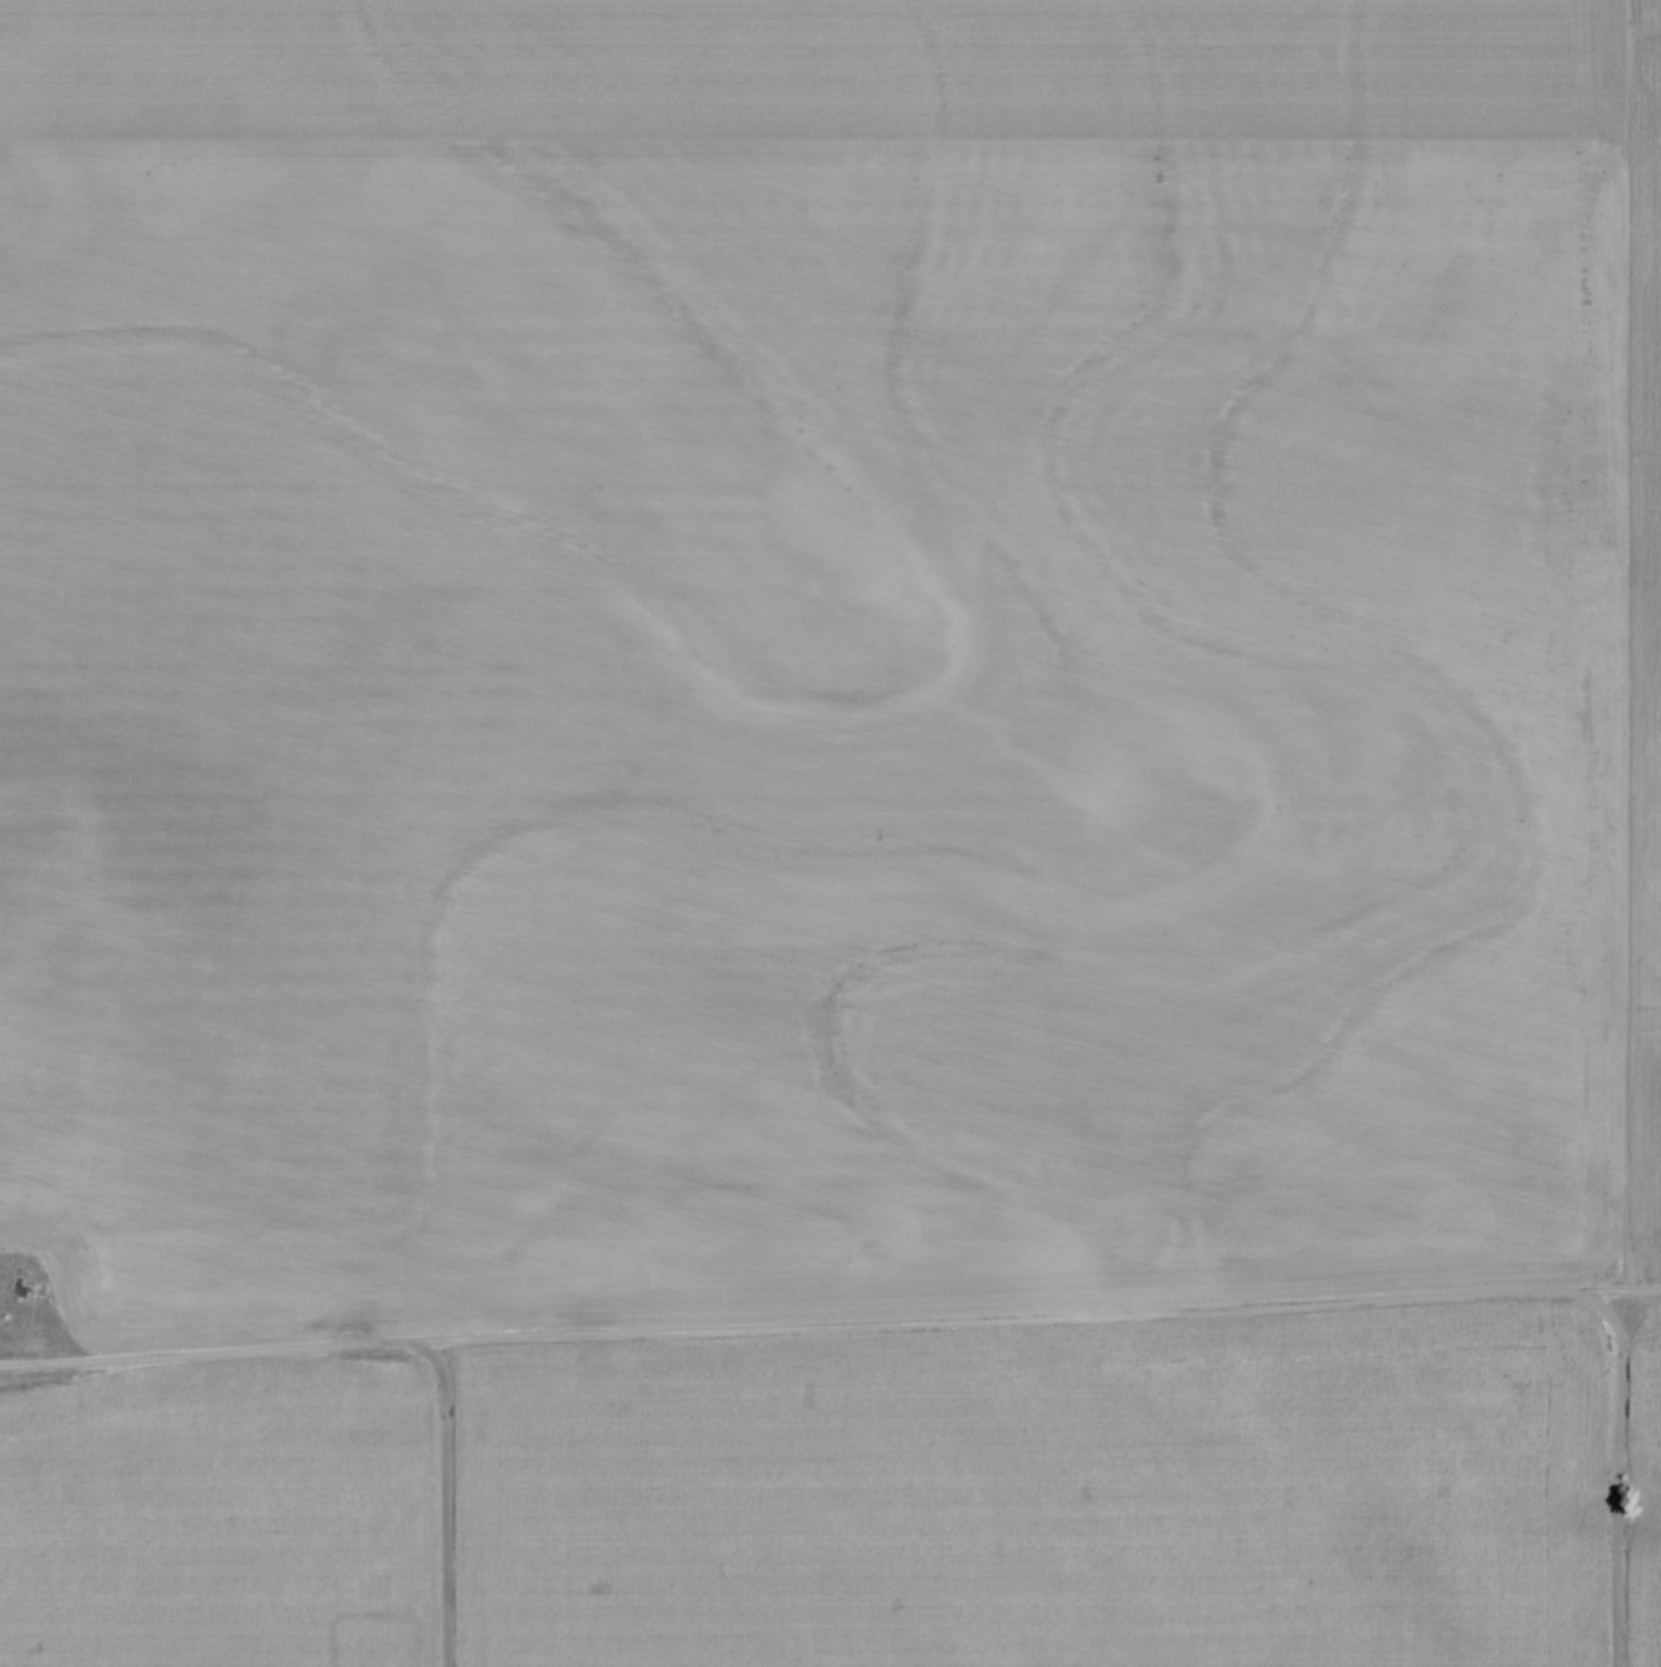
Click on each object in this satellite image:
crop: (823, 654)
building: (22, 1282)
road: (830, 1323)
road: (1617, 1460)
road: (444, 1496)
crop: (865, 1500)

